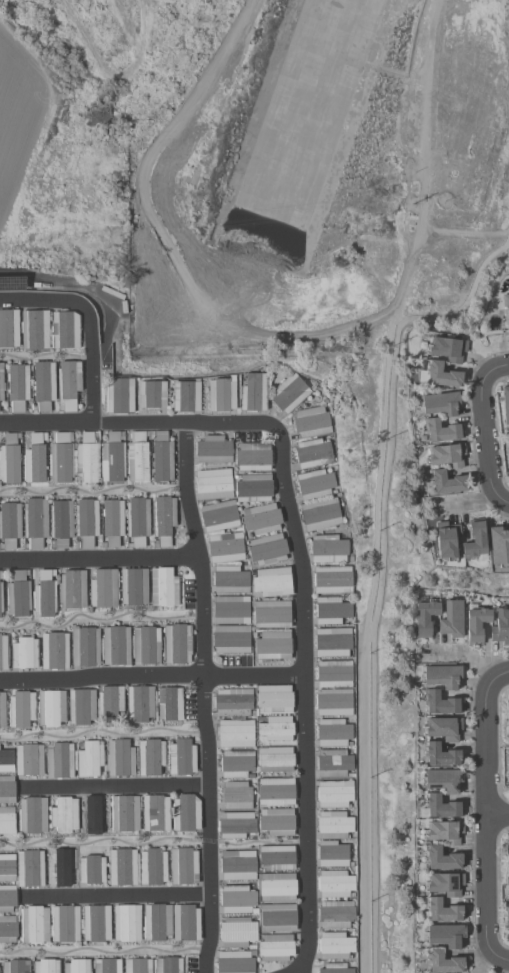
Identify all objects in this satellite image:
crop: (17, 123)
road: (426, 162)
road: (168, 236)
building: (11, 282)
building: (504, 300)
road: (43, 301)
building: (507, 322)
building: (8, 329)
building: (34, 330)
building: (64, 330)
building: (447, 349)
road: (91, 365)
road: (494, 370)
building: (439, 375)
building: (1, 382)
building: (43, 385)
building: (68, 385)
building: (17, 387)
building: (253, 392)
building: (289, 393)
building: (151, 394)
building: (220, 395)
building: (119, 396)
building: (184, 397)
building: (440, 404)
building: (505, 404)
building: (311, 422)
road: (139, 423)
building: (441, 431)
road: (484, 441)
building: (213, 450)
building: (312, 454)
building: (508, 454)
building: (446, 456)
building: (137, 457)
building: (161, 457)
building: (253, 457)
building: (60, 458)
building: (87, 458)
building: (111, 459)
building: (9, 460)
building: (33, 460)
building: (446, 483)
building: (213, 484)
building: (314, 484)
building: (253, 488)
road: (92, 496)
road: (504, 503)
building: (320, 514)
building: (218, 516)
building: (162, 519)
building: (261, 519)
building: (137, 521)
building: (86, 522)
building: (112, 522)
building: (34, 523)
building: (60, 523)
building: (9, 525)
building: (473, 540)
building: (445, 541)
building: (498, 547)
building: (225, 548)
building: (267, 549)
building: (328, 549)
road: (99, 561)
road: (379, 565)
building: (230, 580)
building: (332, 580)
building: (272, 582)
building: (133, 587)
building: (163, 588)
building: (102, 589)
building: (71, 590)
building: (17, 595)
building: (43, 596)
building: (0, 599)
building: (230, 610)
building: (331, 611)
building: (271, 615)
building: (423, 618)
building: (451, 619)
road: (99, 621)
building: (475, 625)
building: (500, 627)
building: (230, 639)
building: (332, 642)
building: (177, 644)
building: (145, 645)
building: (115, 646)
building: (272, 646)
building: (84, 647)
building: (53, 651)
building: (3, 653)
building: (23, 653)
building: (333, 674)
building: (440, 677)
road: (498, 678)
road: (152, 679)
road: (205, 697)
road: (305, 698)
building: (273, 700)
building: (232, 702)
building: (333, 702)
building: (508, 702)
building: (109, 704)
building: (139, 704)
building: (169, 704)
building: (439, 704)
building: (81, 707)
building: (51, 708)
building: (2, 710)
building: (20, 710)
building: (276, 728)
building: (441, 729)
building: (332, 733)
building: (235, 734)
building: (438, 756)
building: (150, 757)
building: (181, 757)
building: (120, 758)
building: (28, 759)
building: (89, 759)
building: (275, 759)
building: (6, 761)
building: (59, 761)
building: (333, 763)
building: (236, 764)
building: (508, 776)
building: (441, 781)
building: (6, 789)
road: (115, 789)
building: (275, 792)
building: (334, 794)
building: (236, 795)
building: (440, 808)
building: (124, 813)
building: (155, 813)
building: (185, 813)
building: (32, 815)
building: (64, 815)
building: (93, 815)
road: (497, 818)
road: (485, 819)
building: (6, 820)
building: (276, 822)
building: (235, 825)
building: (333, 825)
building: (443, 833)
building: (331, 854)
building: (508, 855)
building: (277, 857)
building: (439, 860)
building: (237, 865)
building: (60, 866)
building: (183, 866)
building: (122, 867)
building: (152, 867)
building: (7, 868)
building: (30, 868)
building: (91, 870)
building: (334, 884)
building: (443, 885)
building: (277, 887)
building: (7, 898)
road: (117, 899)
building: (236, 899)
building: (439, 912)
building: (335, 914)
building: (277, 918)
building: (156, 922)
building: (95, 923)
building: (126, 923)
building: (185, 923)
building: (33, 924)
building: (64, 924)
building: (7, 929)
building: (236, 932)
building: (444, 936)
building: (335, 946)
building: (275, 948)
road: (499, 959)
building: (234, 962)
building: (441, 963)
building: (137, 965)
building: (168, 965)
building: (15, 966)
building: (45, 966)
building: (76, 966)
building: (106, 966)
building: (334, 968)

